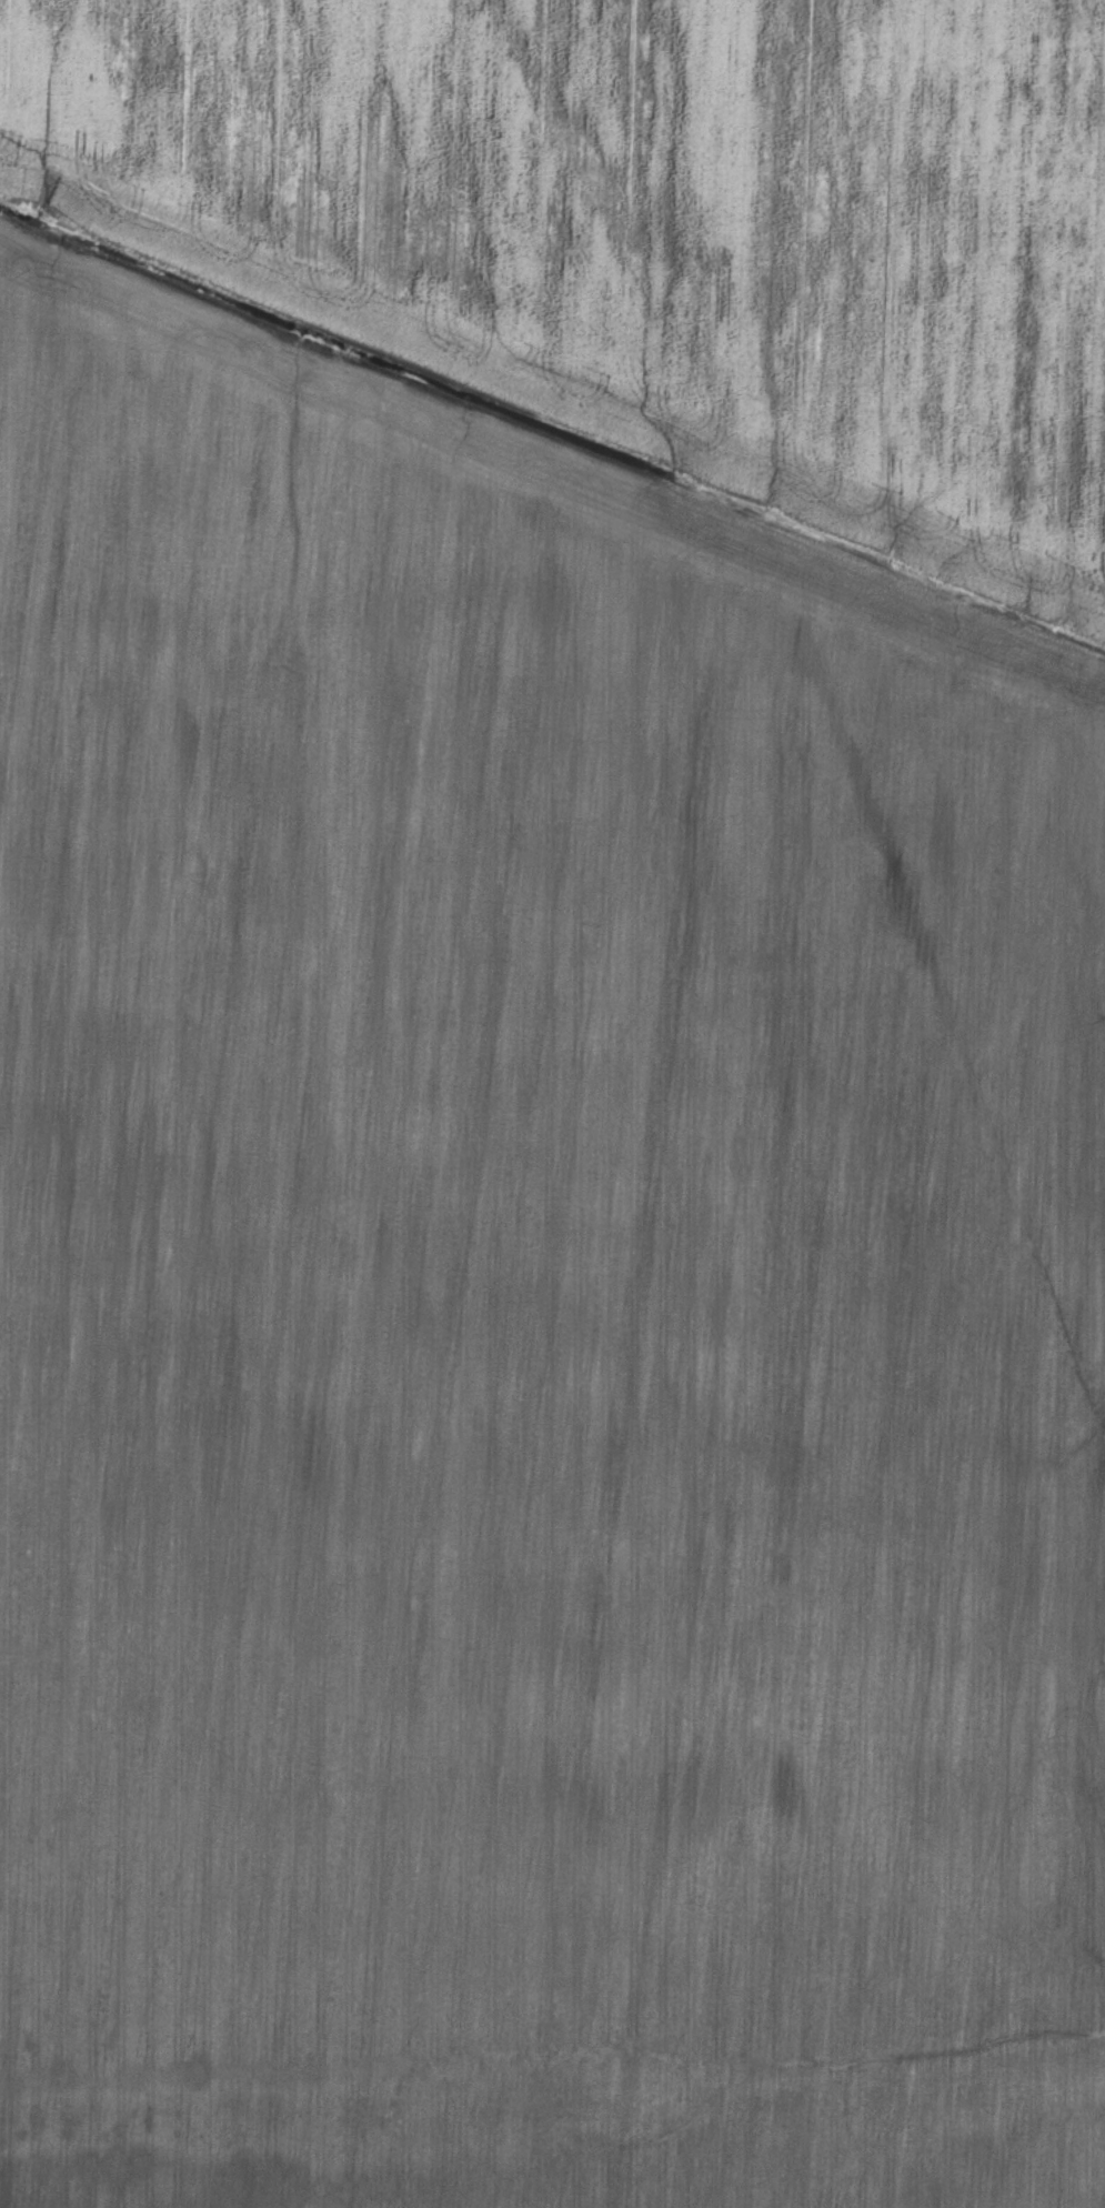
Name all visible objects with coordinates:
crop: (650, 222)
crop: (529, 1322)

